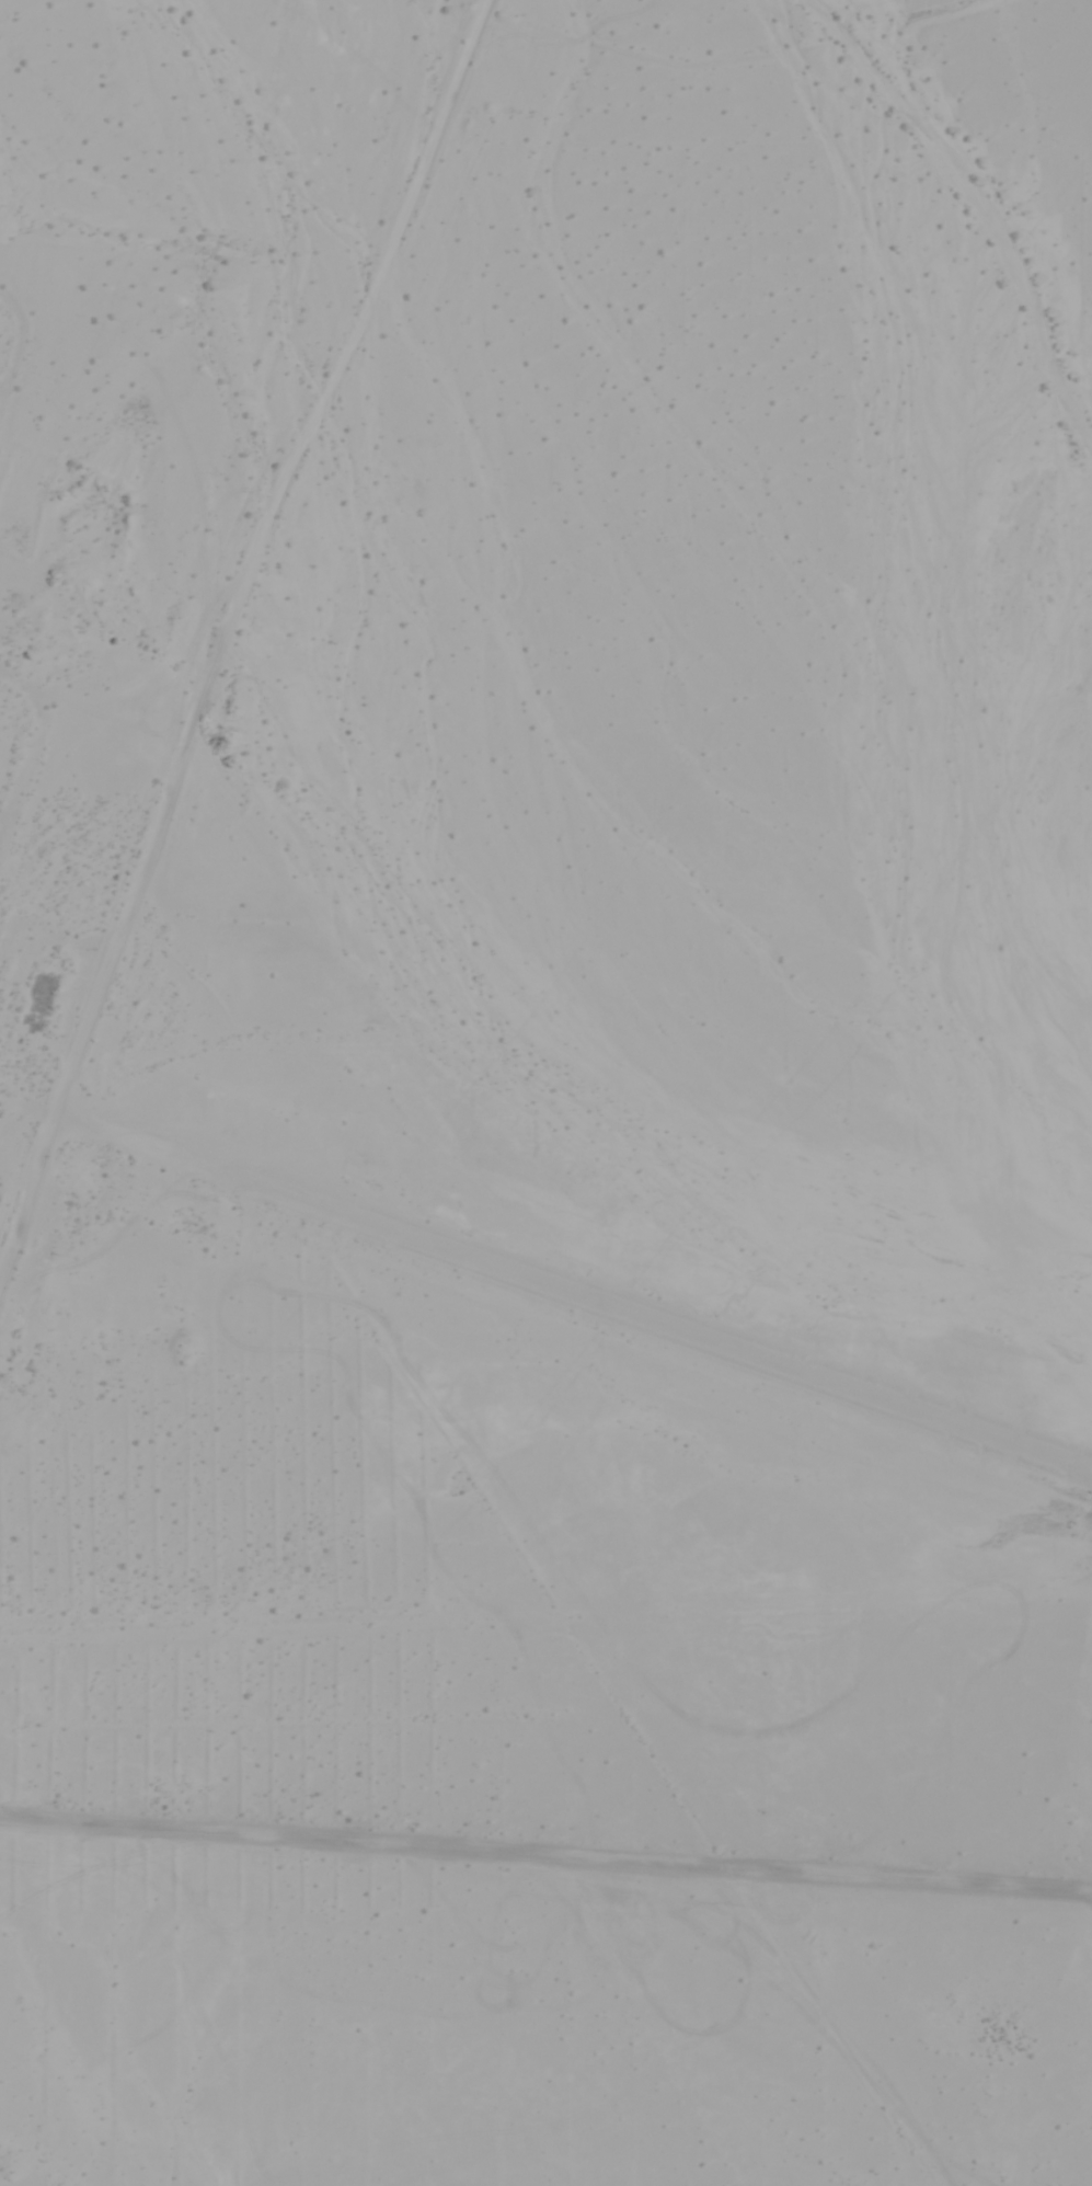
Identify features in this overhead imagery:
road: (545, 1864)

